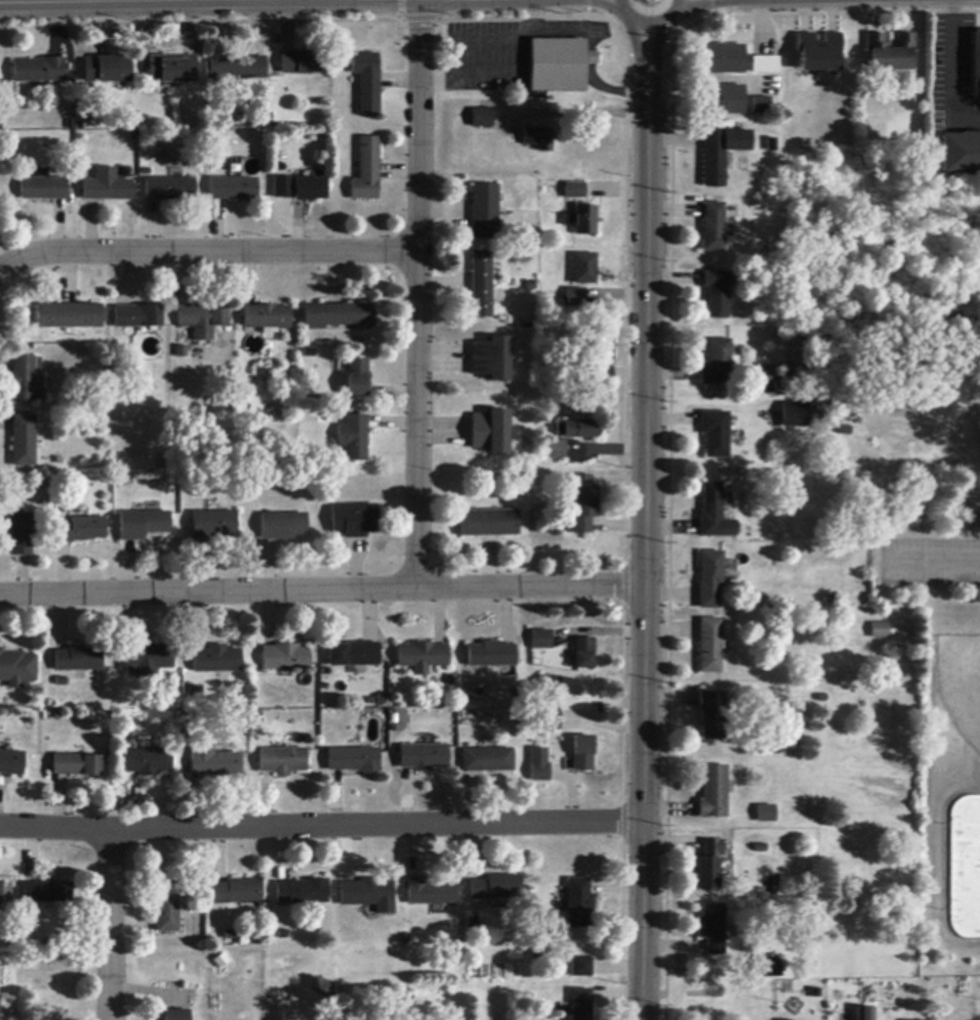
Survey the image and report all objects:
road: (224, 0)
road: (145, 2)
road: (648, 25)
building: (890, 52)
building: (819, 53)
building: (724, 59)
building: (300, 63)
building: (976, 64)
building: (559, 65)
building: (766, 65)
road: (947, 68)
building: (237, 69)
road: (503, 69)
building: (39, 70)
building: (108, 70)
building: (172, 70)
building: (368, 83)
road: (613, 91)
building: (723, 100)
building: (762, 105)
road: (578, 111)
building: (482, 118)
building: (539, 139)
building: (721, 153)
building: (961, 154)
building: (367, 170)
building: (281, 185)
building: (106, 187)
building: (42, 189)
building: (169, 189)
building: (234, 189)
building: (310, 189)
building: (575, 191)
building: (485, 212)
building: (583, 221)
building: (714, 227)
road: (207, 252)
building: (584, 269)
building: (482, 285)
road: (419, 294)
building: (717, 294)
building: (576, 297)
building: (335, 315)
building: (68, 317)
building: (136, 317)
building: (266, 317)
building: (202, 320)
building: (181, 352)
building: (309, 353)
building: (491, 359)
building: (603, 360)
building: (718, 364)
building: (357, 378)
building: (22, 380)
building: (765, 387)
building: (793, 413)
building: (575, 429)
building: (491, 432)
building: (716, 434)
building: (354, 438)
building: (23, 441)
building: (555, 450)
building: (582, 504)
building: (714, 514)
building: (355, 520)
road: (645, 523)
building: (489, 524)
building: (142, 525)
building: (213, 526)
building: (283, 526)
building: (79, 530)
building: (21, 534)
road: (934, 560)
parking lot: (930, 562)
building: (710, 579)
road: (322, 589)
building: (830, 600)
building: (880, 631)
building: (541, 640)
building: (711, 646)
building: (584, 654)
building: (354, 655)
building: (424, 655)
building: (491, 655)
building: (285, 658)
building: (216, 659)
building: (77, 660)
building: (146, 660)
building: (16, 669)
building: (560, 686)
building: (194, 695)
park: (942, 714)
building: (713, 715)
building: (545, 720)
building: (190, 723)
building: (582, 754)
building: (423, 757)
building: (354, 760)
building: (214, 761)
building: (283, 761)
building: (487, 761)
building: (147, 762)
building: (10, 763)
building: (77, 765)
building: (539, 766)
building: (714, 793)
building: (766, 814)
road: (322, 826)
building: (709, 865)
building: (495, 888)
building: (46, 892)
building: (237, 892)
building: (302, 892)
building: (4, 893)
building: (430, 893)
building: (368, 895)
building: (578, 904)
building: (167, 907)
building: (472, 924)
road: (111, 925)
building: (712, 929)
building: (581, 968)
building: (770, 968)
building: (581, 1004)
building: (866, 1014)
building: (177, 1015)
building: (784, 1019)

